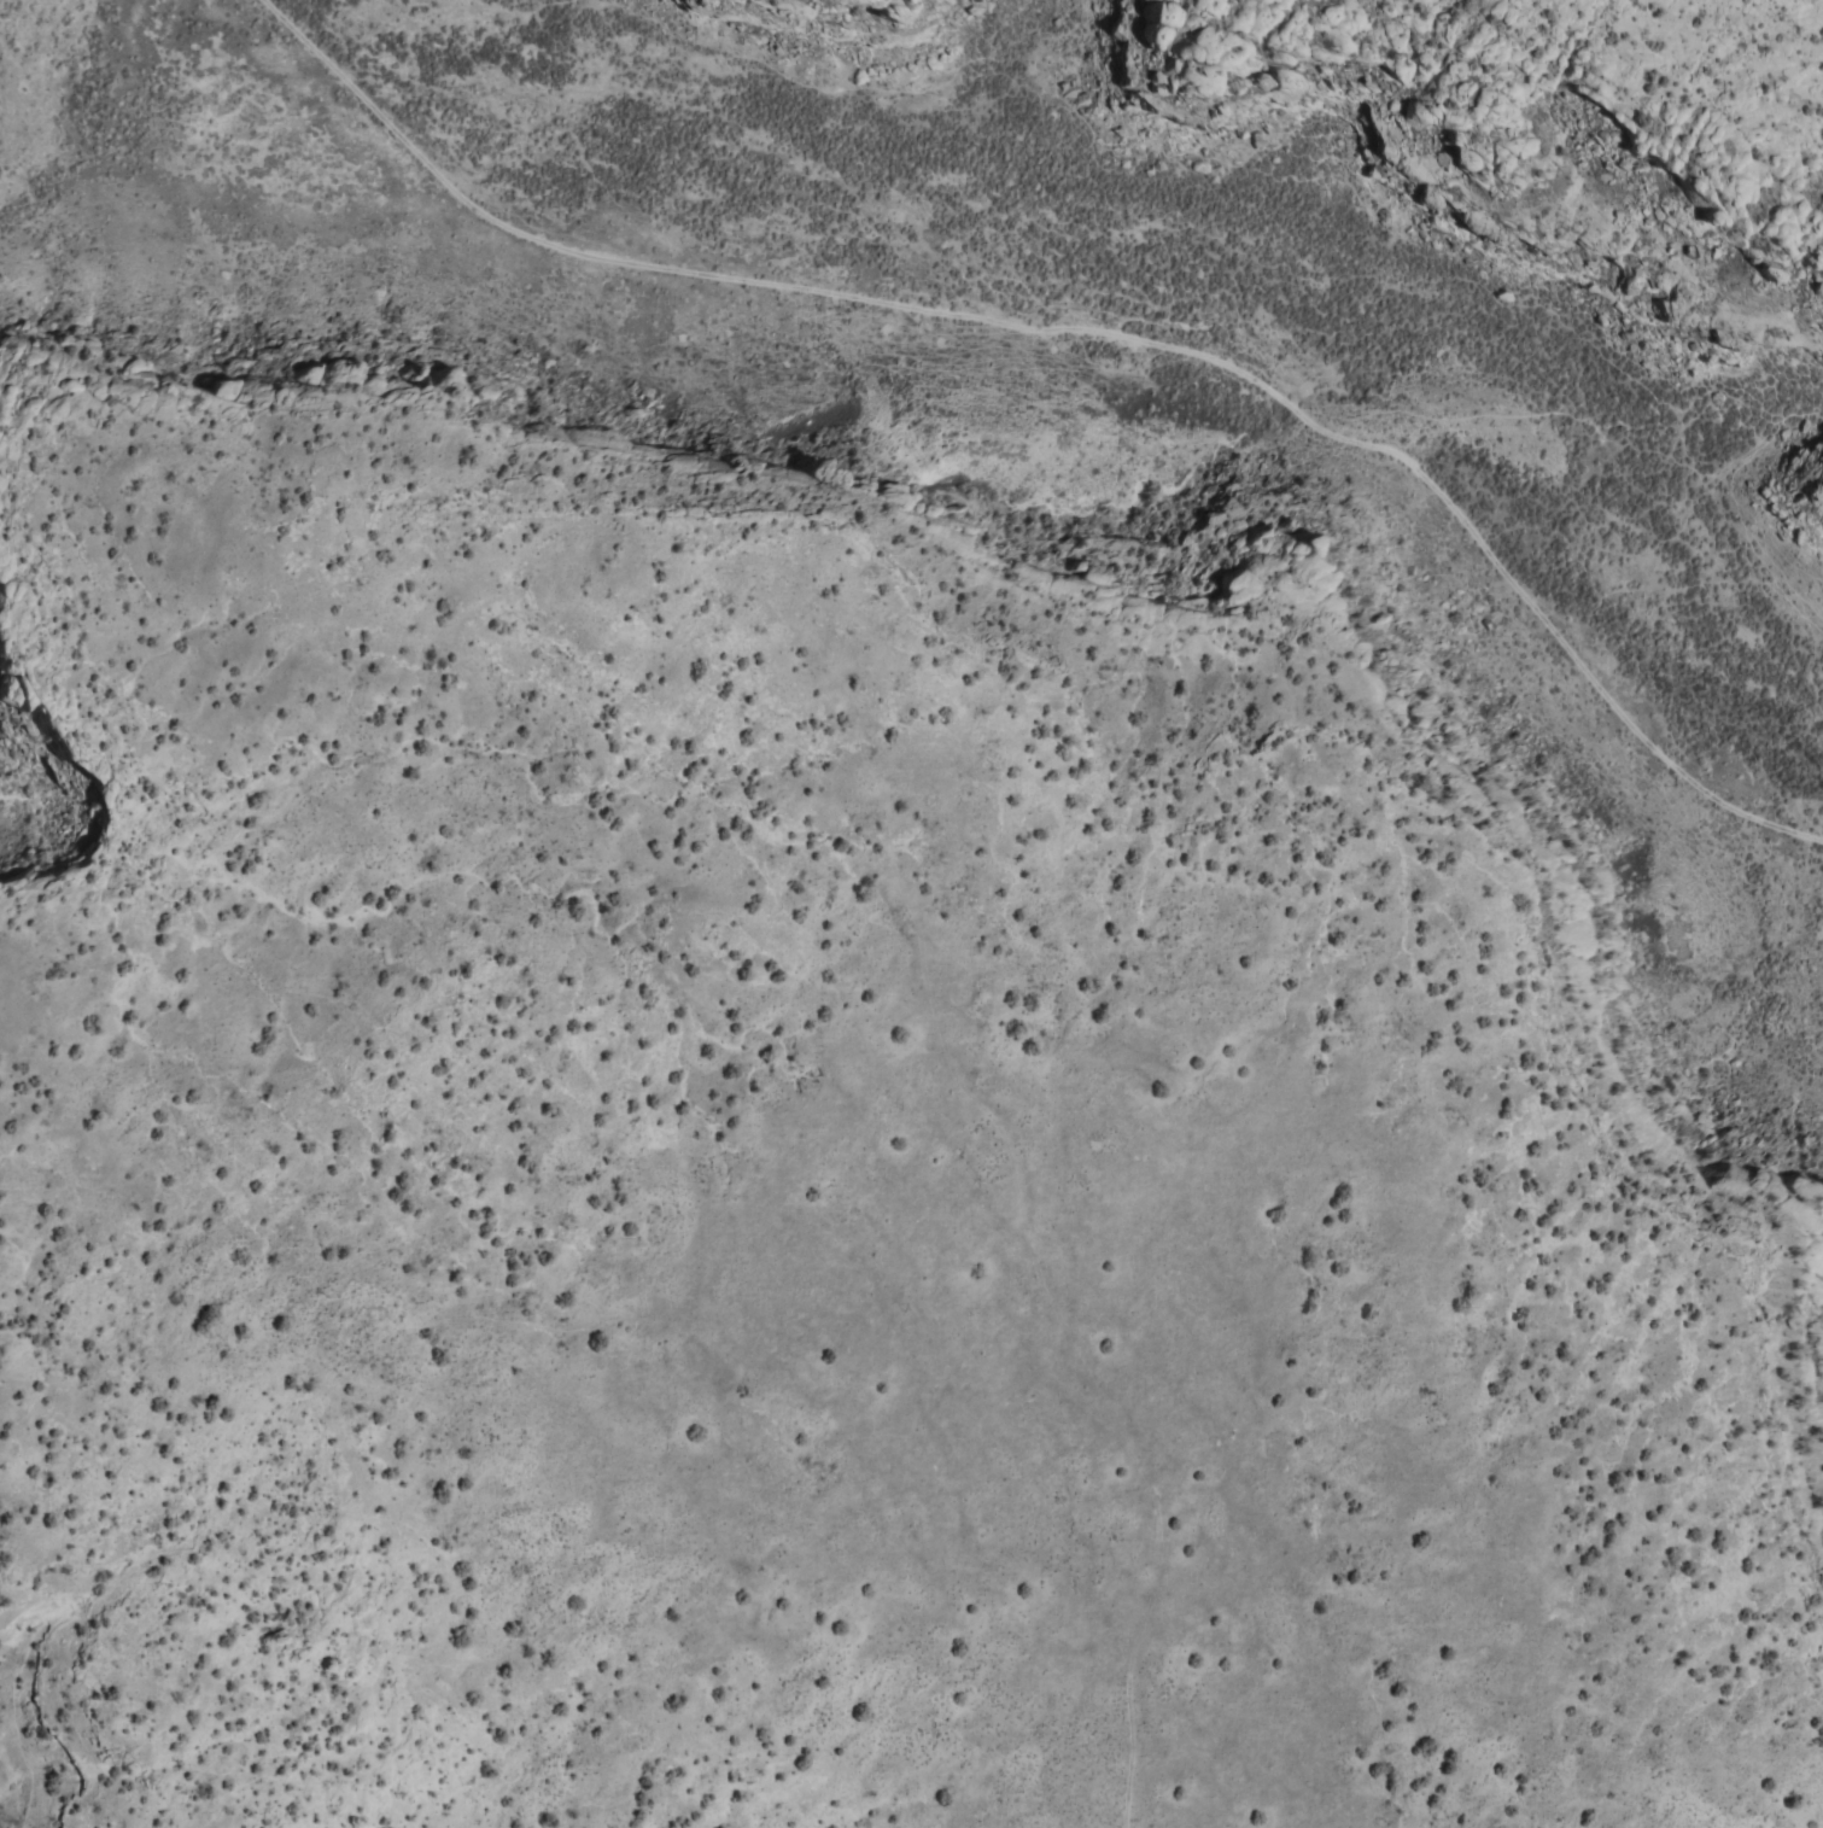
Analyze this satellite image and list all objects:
river: (70, 39)
river: (1094, 322)
road: (1059, 373)

